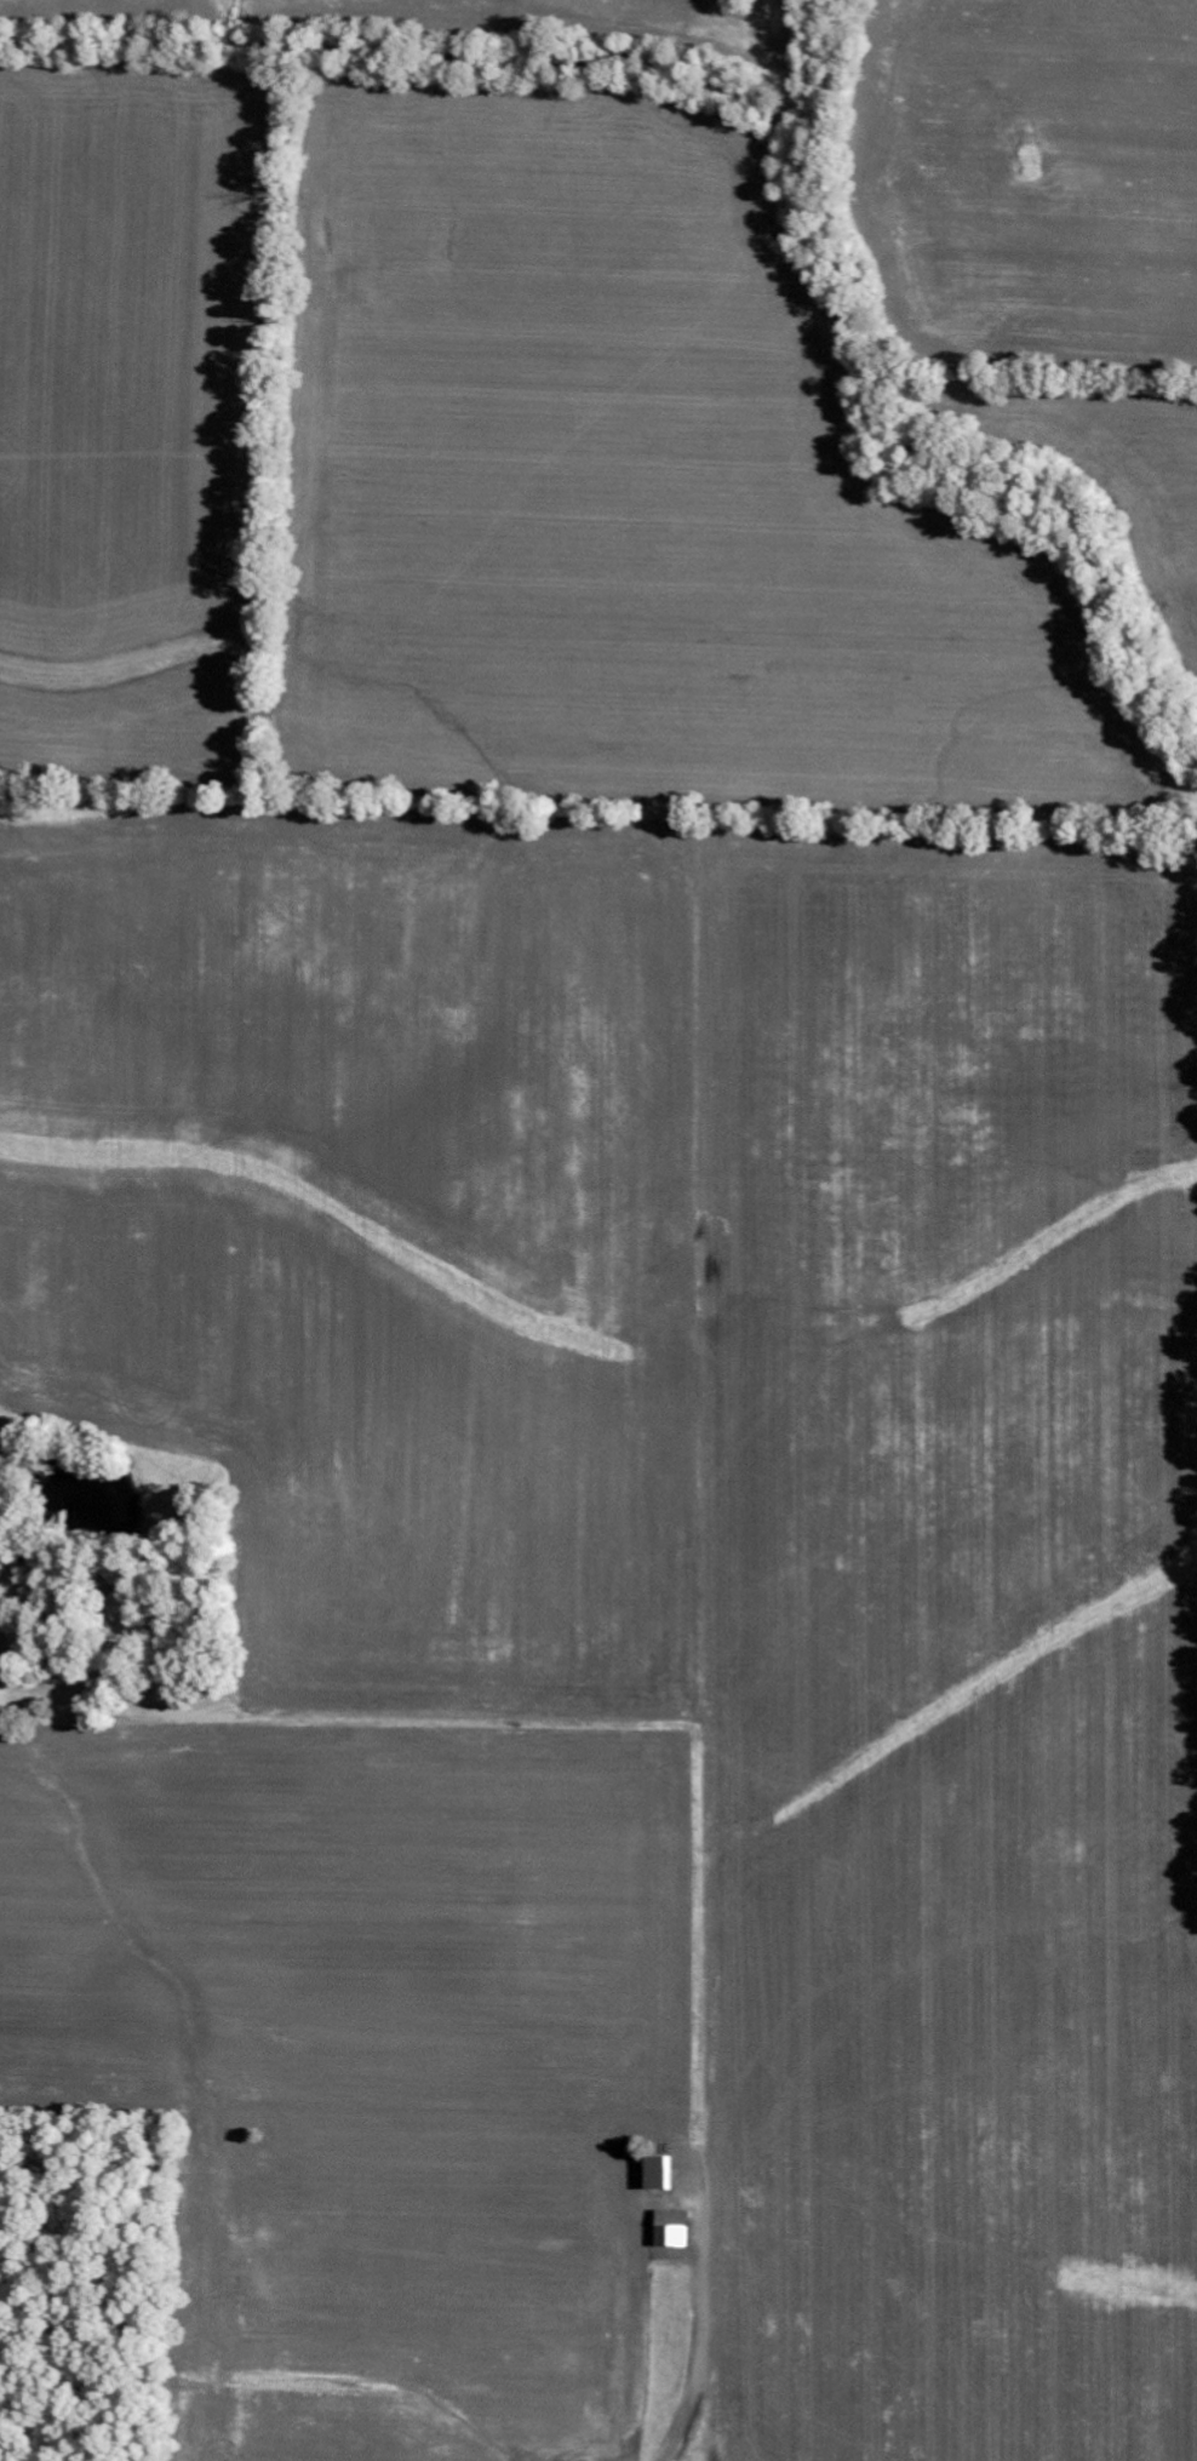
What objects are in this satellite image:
building: (659, 2173)
building: (672, 2228)

